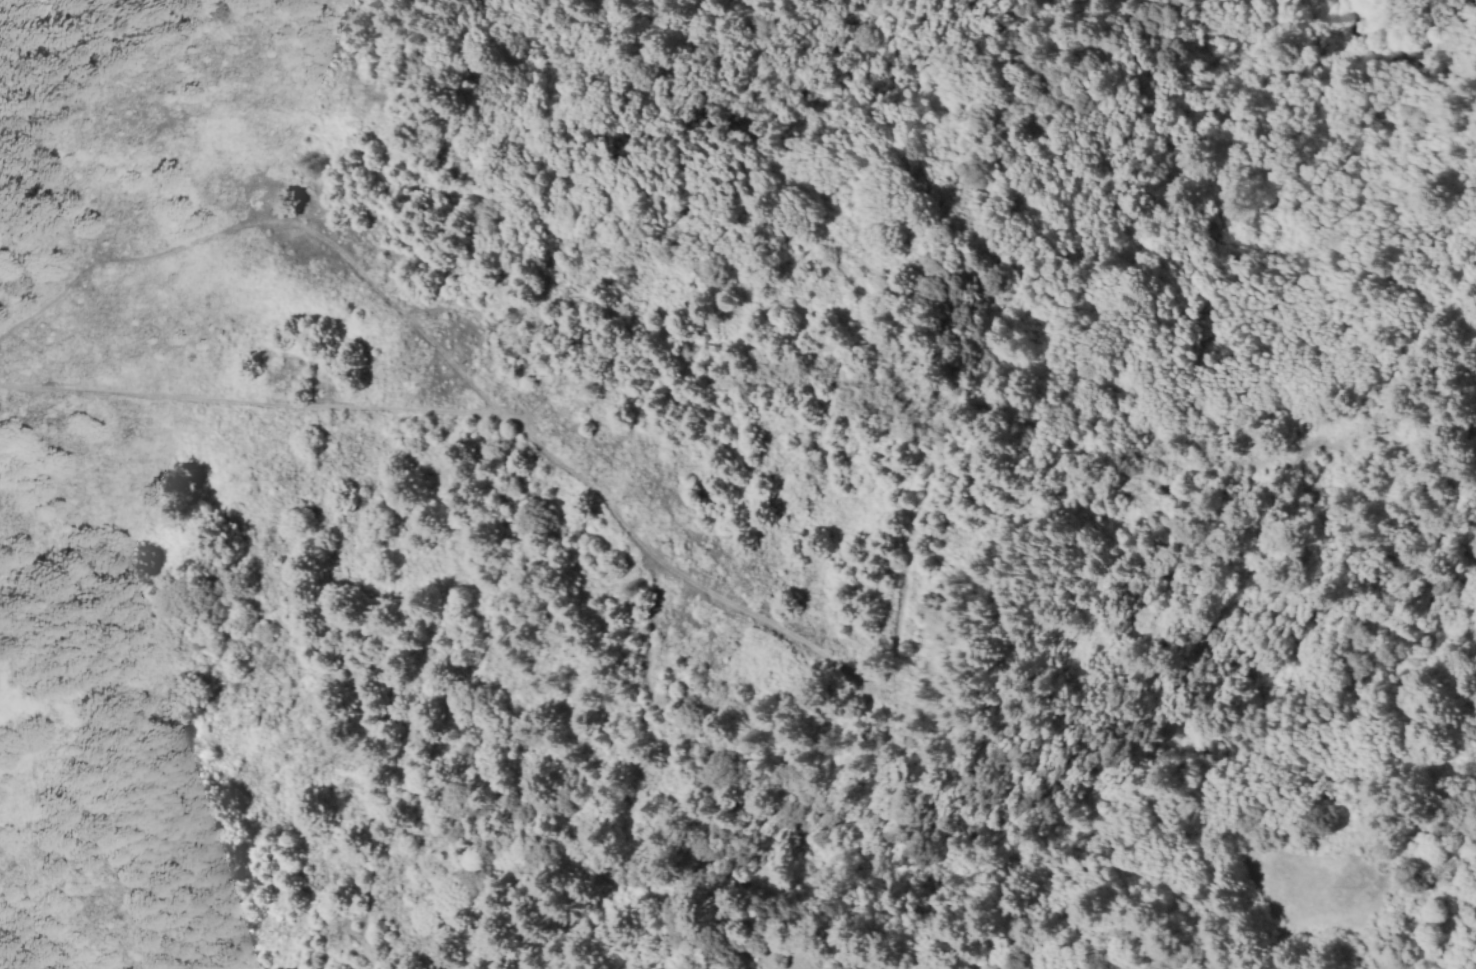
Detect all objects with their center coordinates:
crop: (497, 466)

